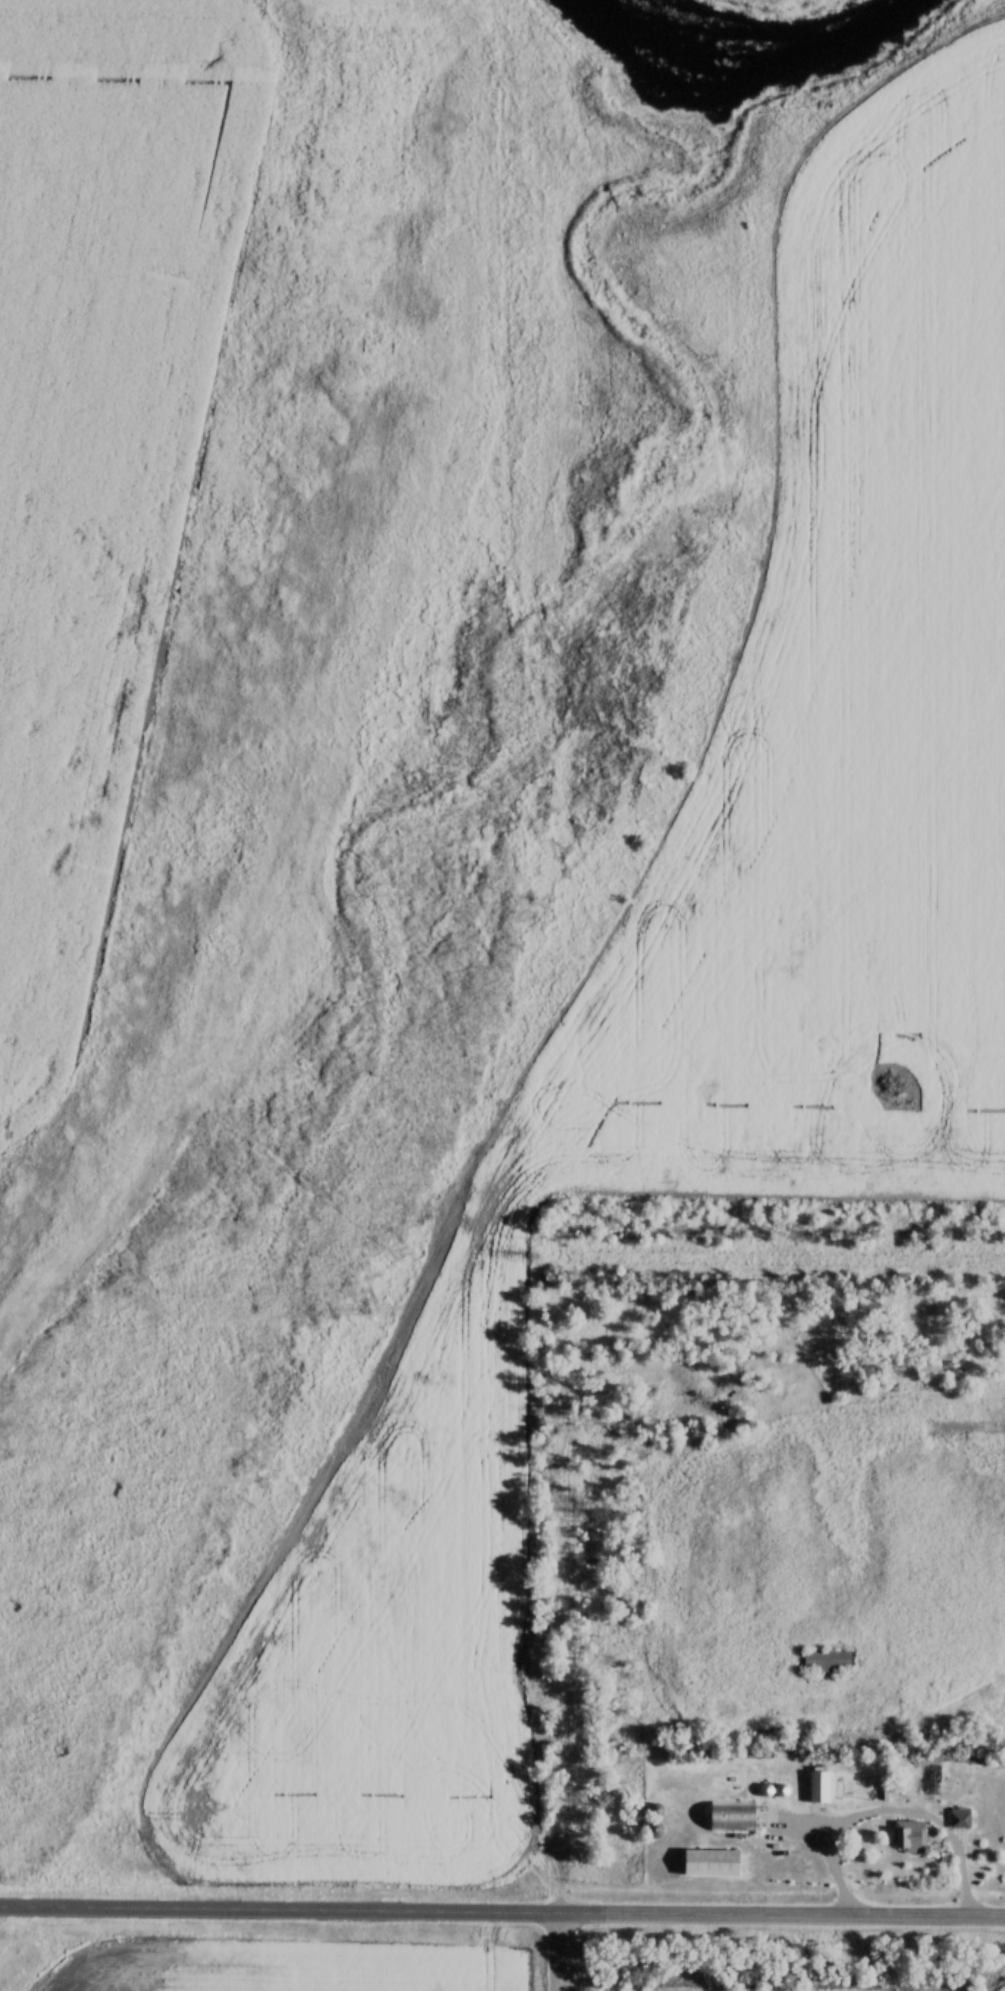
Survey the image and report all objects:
building: (824, 1660)
building: (653, 1809)
building: (728, 1815)
building: (957, 1817)
building: (651, 1829)
building: (906, 1836)
building: (707, 1861)
road: (780, 1911)
road: (277, 1912)
road: (554, 1951)

